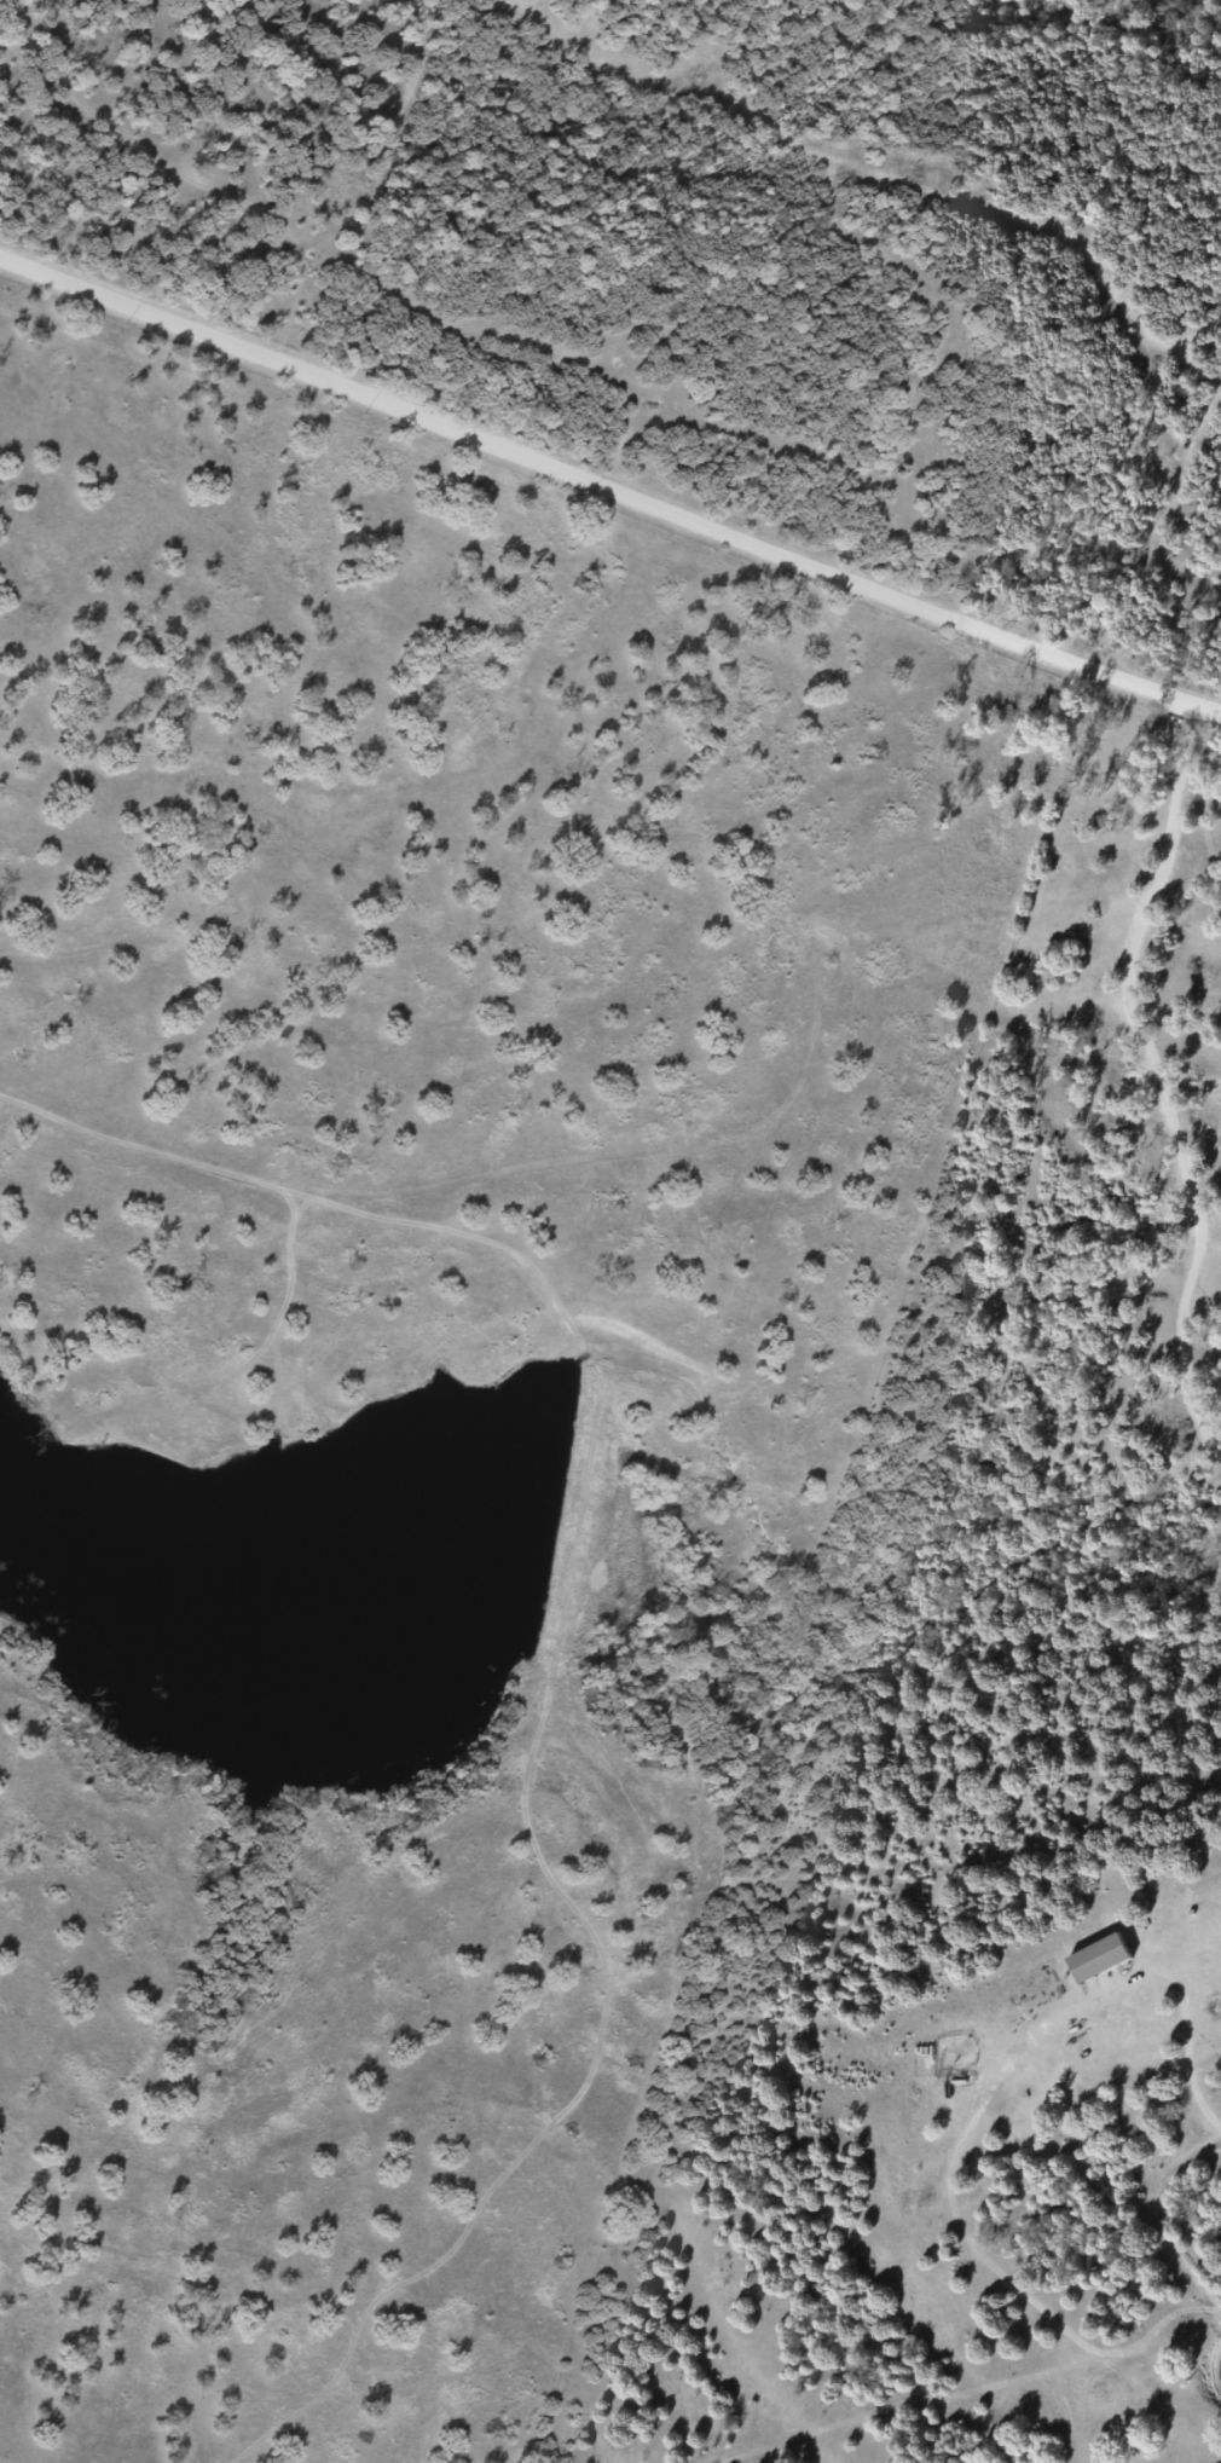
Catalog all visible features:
building: (1099, 1958)

